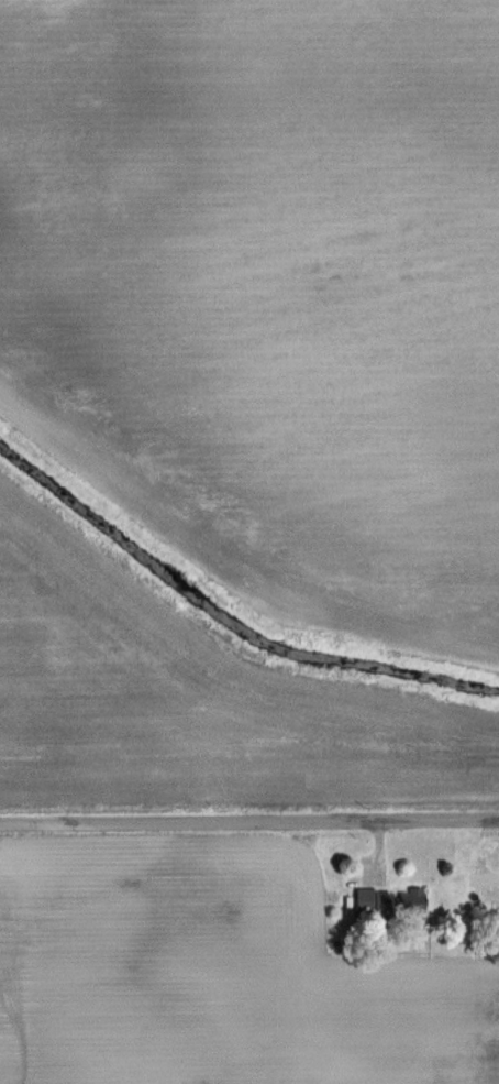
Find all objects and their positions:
road: (248, 822)
building: (412, 902)
building: (384, 906)

